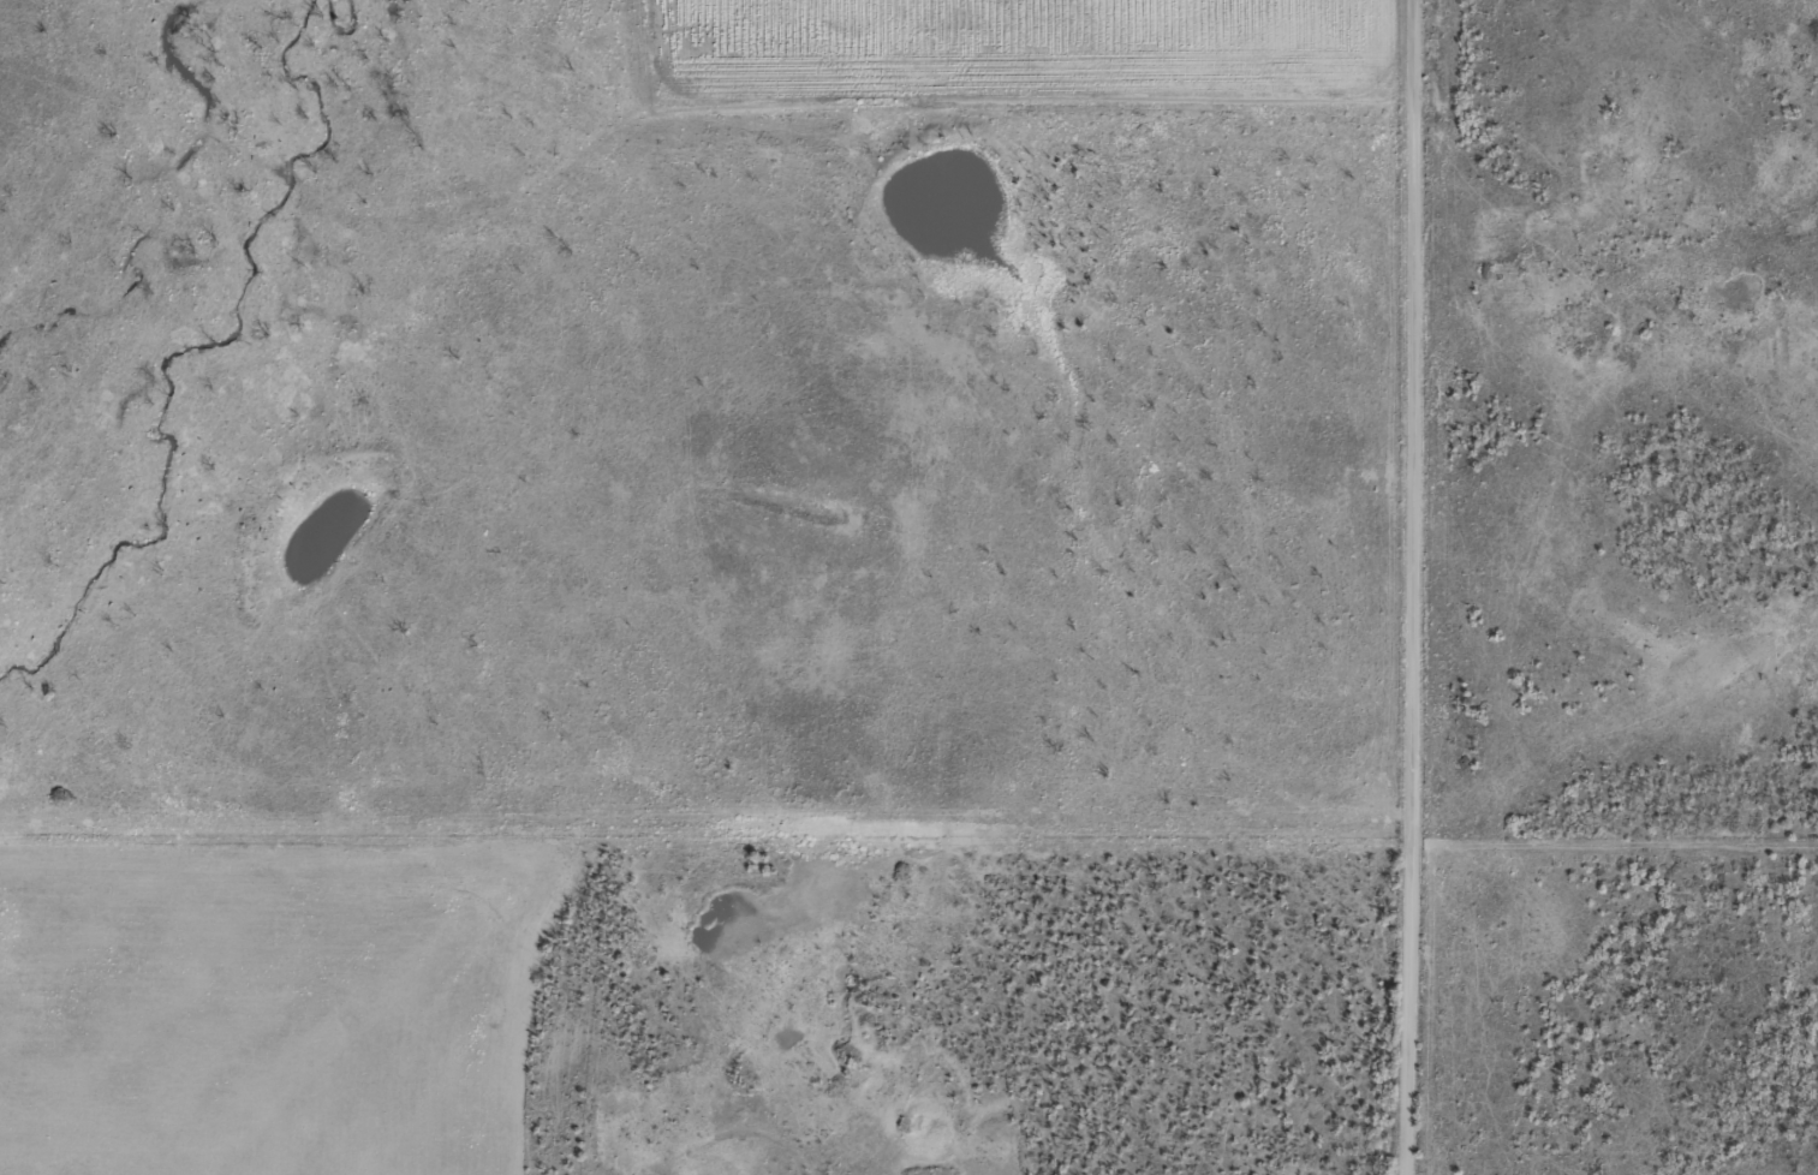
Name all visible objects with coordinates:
road: (1407, 587)

